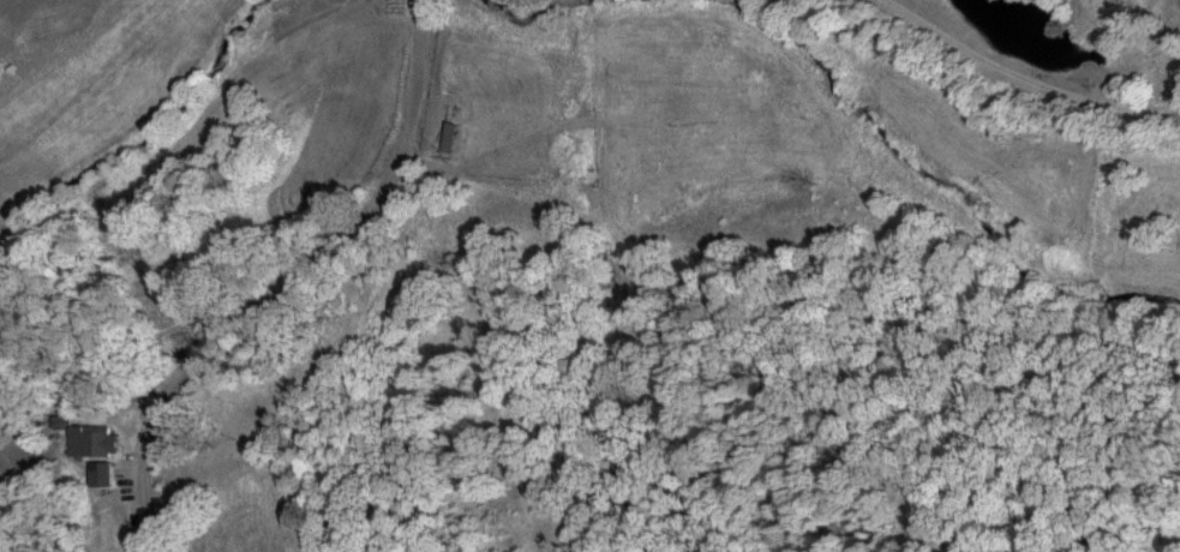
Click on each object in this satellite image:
road: (483, 17)
building: (455, 137)
road: (352, 292)
building: (106, 440)
building: (107, 474)

